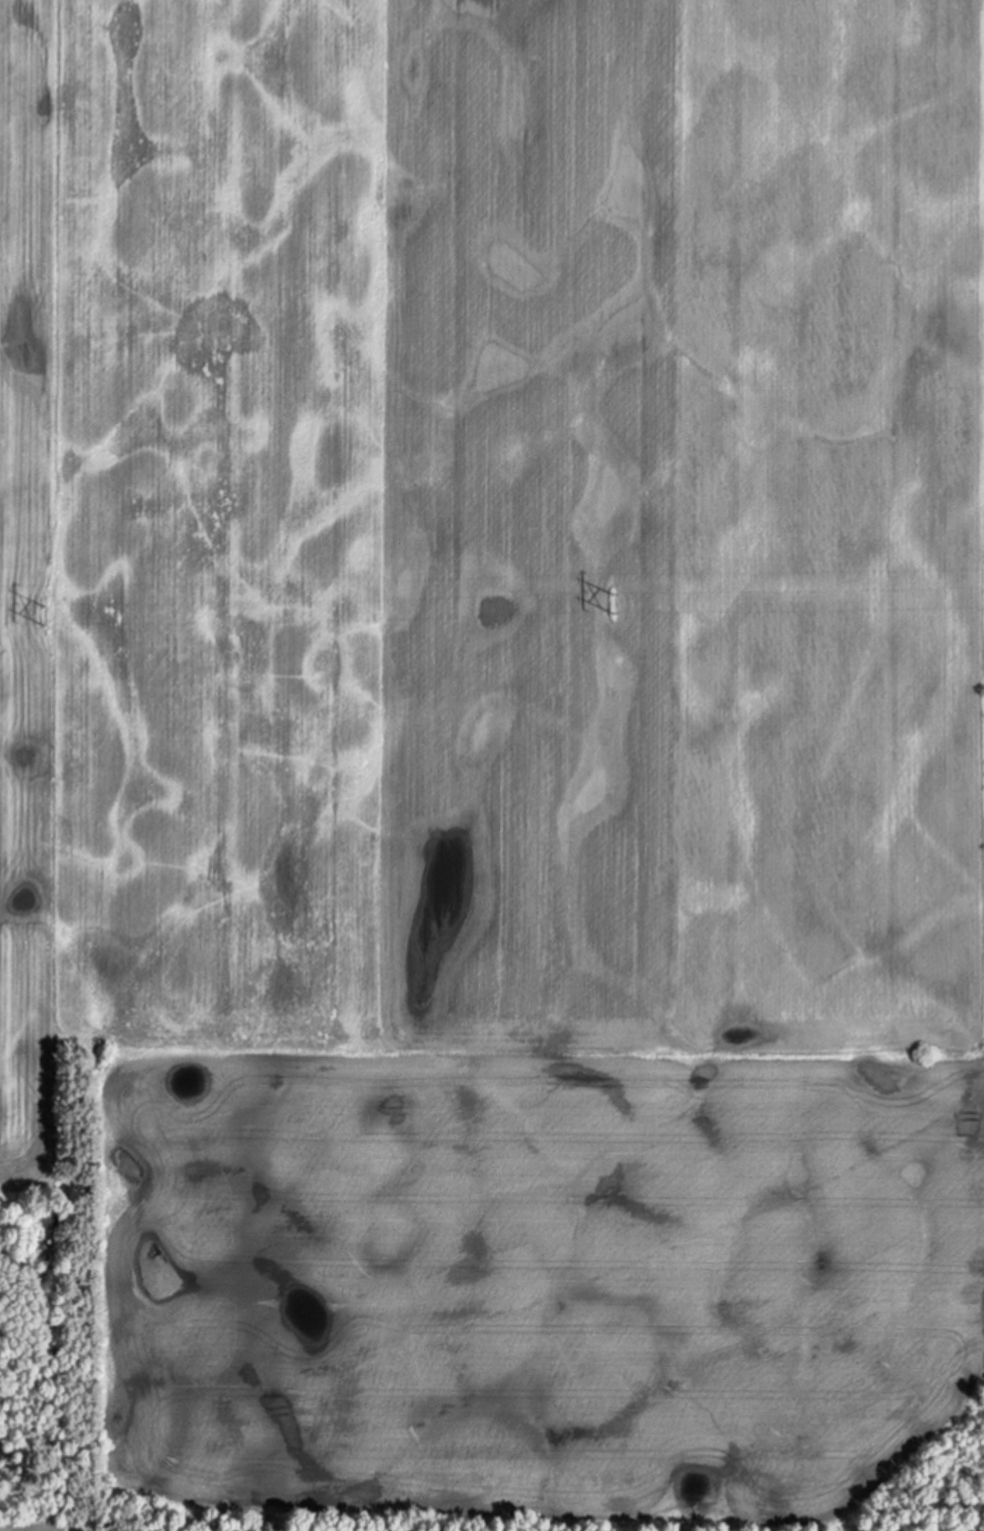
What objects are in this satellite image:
power tower: (607, 606)
power tower: (35, 616)

